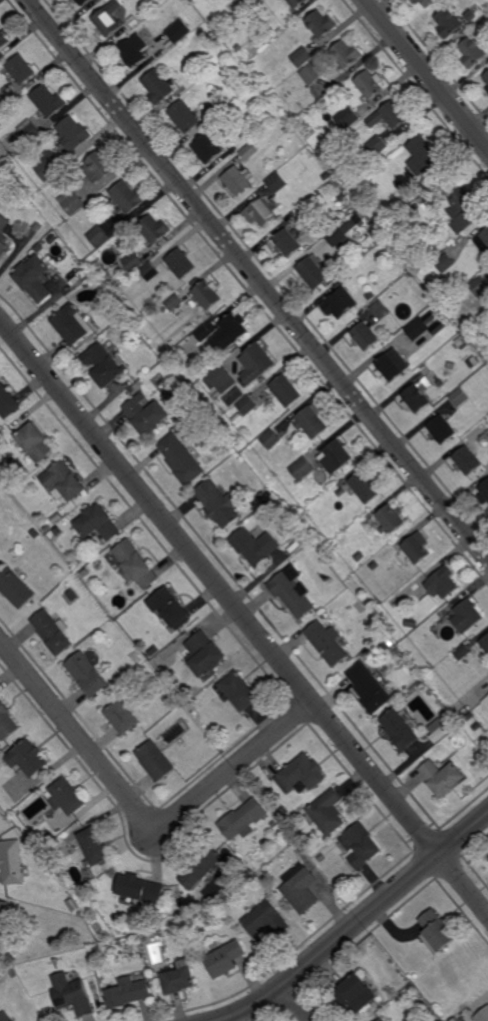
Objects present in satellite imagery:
building: (195, 0)
building: (280, 0)
building: (81, 1)
building: (418, 1)
building: (247, 2)
building: (429, 2)
building: (297, 5)
building: (110, 20)
building: (135, 20)
building: (449, 21)
building: (322, 24)
building: (180, 30)
building: (4, 38)
building: (216, 40)
building: (239, 47)
building: (135, 50)
building: (473, 51)
building: (345, 54)
building: (302, 56)
building: (23, 68)
building: (314, 72)
road: (428, 73)
building: (486, 75)
building: (370, 84)
building: (159, 85)
building: (487, 88)
building: (50, 100)
building: (3, 103)
building: (216, 109)
building: (391, 115)
building: (185, 116)
building: (291, 116)
building: (348, 118)
building: (300, 124)
building: (75, 132)
building: (27, 135)
building: (377, 145)
building: (208, 148)
building: (249, 151)
building: (426, 156)
building: (101, 166)
building: (51, 167)
building: (327, 176)
building: (238, 179)
building: (277, 182)
building: (128, 196)
building: (342, 197)
building: (427, 200)
building: (72, 201)
building: (463, 208)
building: (261, 212)
building: (360, 219)
building: (443, 222)
building: (38, 226)
building: (351, 226)
building: (155, 228)
building: (376, 233)
building: (99, 236)
building: (4, 237)
building: (340, 238)
building: (54, 239)
building: (288, 242)
building: (483, 242)
building: (134, 263)
building: (181, 263)
building: (445, 263)
building: (150, 271)
building: (315, 271)
building: (347, 276)
building: (35, 278)
road: (257, 279)
building: (479, 285)
building: (208, 294)
building: (175, 302)
building: (340, 303)
building: (381, 310)
building: (431, 319)
building: (73, 325)
building: (417, 328)
building: (230, 332)
building: (201, 334)
building: (364, 335)
building: (461, 340)
building: (258, 363)
building: (102, 365)
building: (393, 365)
building: (219, 375)
building: (287, 390)
building: (459, 397)
building: (416, 398)
building: (7, 402)
building: (247, 405)
building: (199, 413)
building: (146, 415)
building: (240, 417)
building: (312, 422)
building: (441, 430)
building: (271, 439)
building: (36, 443)
building: (337, 457)
building: (181, 459)
building: (467, 460)
building: (302, 469)
building: (64, 481)
building: (365, 487)
building: (341, 492)
building: (483, 493)
building: (263, 496)
building: (218, 503)
building: (391, 519)
building: (98, 522)
building: (47, 527)
building: (57, 531)
building: (34, 534)
building: (255, 544)
building: (416, 549)
building: (360, 557)
building: (135, 564)
building: (375, 565)
building: (84, 573)
building: (444, 582)
building: (65, 585)
building: (15, 588)
building: (294, 591)
building: (430, 603)
building: (171, 607)
building: (467, 615)
road: (243, 617)
building: (436, 619)
building: (411, 623)
building: (52, 631)
building: (378, 631)
building: (328, 642)
building: (485, 644)
building: (463, 652)
building: (205, 653)
building: (87, 673)
building: (371, 687)
building: (241, 691)
building: (487, 698)
building: (174, 703)
building: (123, 713)
building: (7, 721)
building: (400, 729)
building: (444, 730)
building: (479, 754)
building: (28, 757)
building: (156, 760)
building: (304, 774)
building: (442, 777)
building: (67, 796)
road: (138, 811)
building: (328, 812)
building: (244, 819)
building: (49, 838)
building: (37, 843)
building: (362, 845)
building: (95, 846)
building: (28, 847)
building: (322, 858)
building: (11, 862)
building: (202, 866)
building: (266, 871)
building: (249, 875)
building: (301, 888)
building: (141, 889)
building: (181, 903)
building: (4, 915)
building: (266, 920)
road: (357, 922)
building: (435, 932)
building: (106, 937)
building: (94, 950)
building: (11, 958)
building: (225, 959)
building: (13, 973)
building: (179, 979)
building: (129, 991)
building: (357, 994)
building: (74, 998)
road: (299, 1002)
building: (5, 1016)
building: (482, 1016)
building: (380, 1020)
building: (457, 1020)

